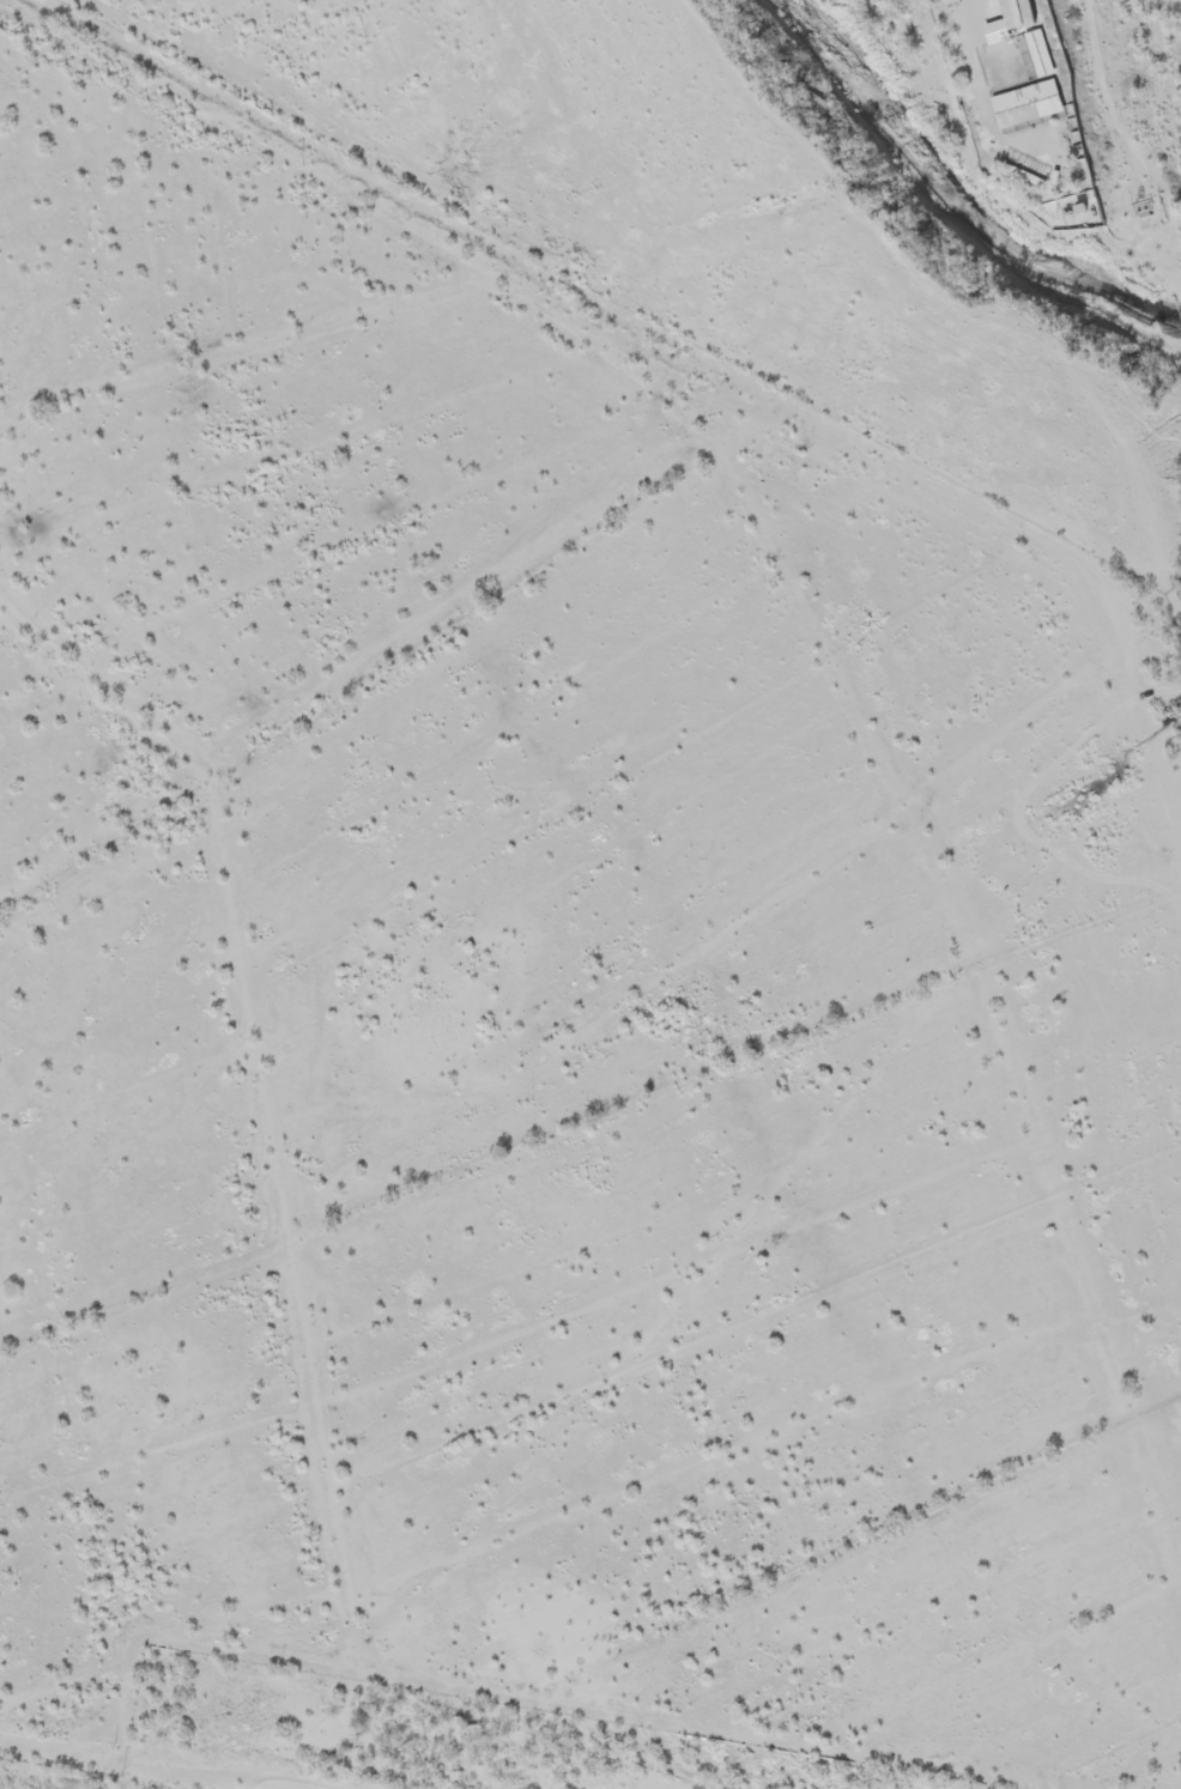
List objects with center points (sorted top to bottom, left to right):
road: (941, 56)
road: (296, 1783)

